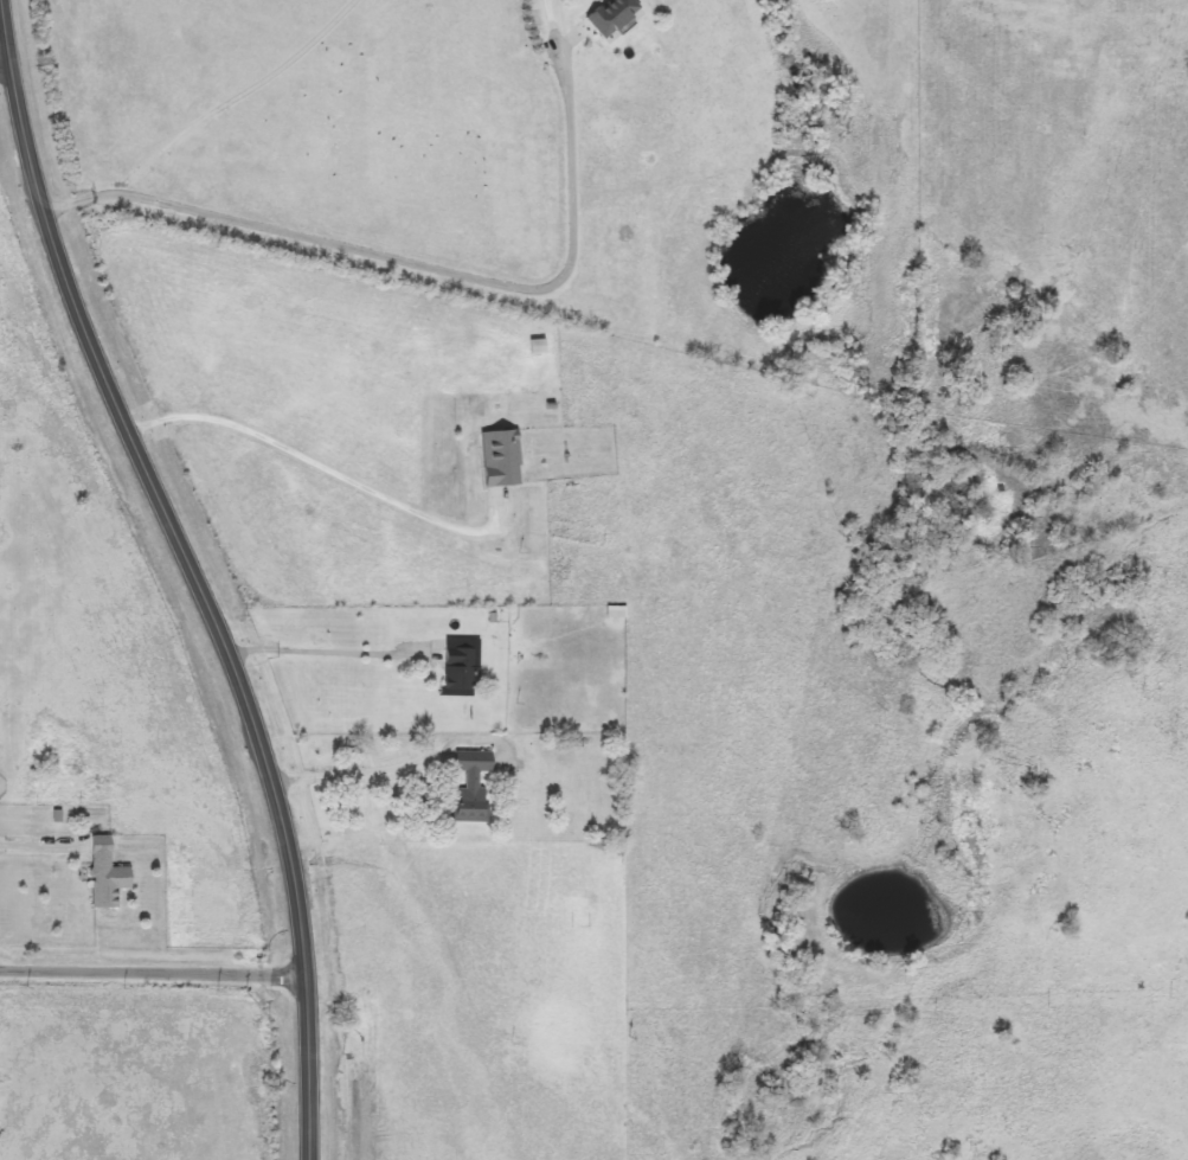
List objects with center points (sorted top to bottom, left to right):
building: (612, 15)
road: (1, 59)
road: (415, 263)
building: (503, 459)
road: (314, 463)
road: (193, 584)
road: (325, 652)
building: (465, 667)
road: (364, 771)
building: (474, 787)
road: (40, 846)
building: (108, 874)
building: (585, 904)
road: (150, 974)

